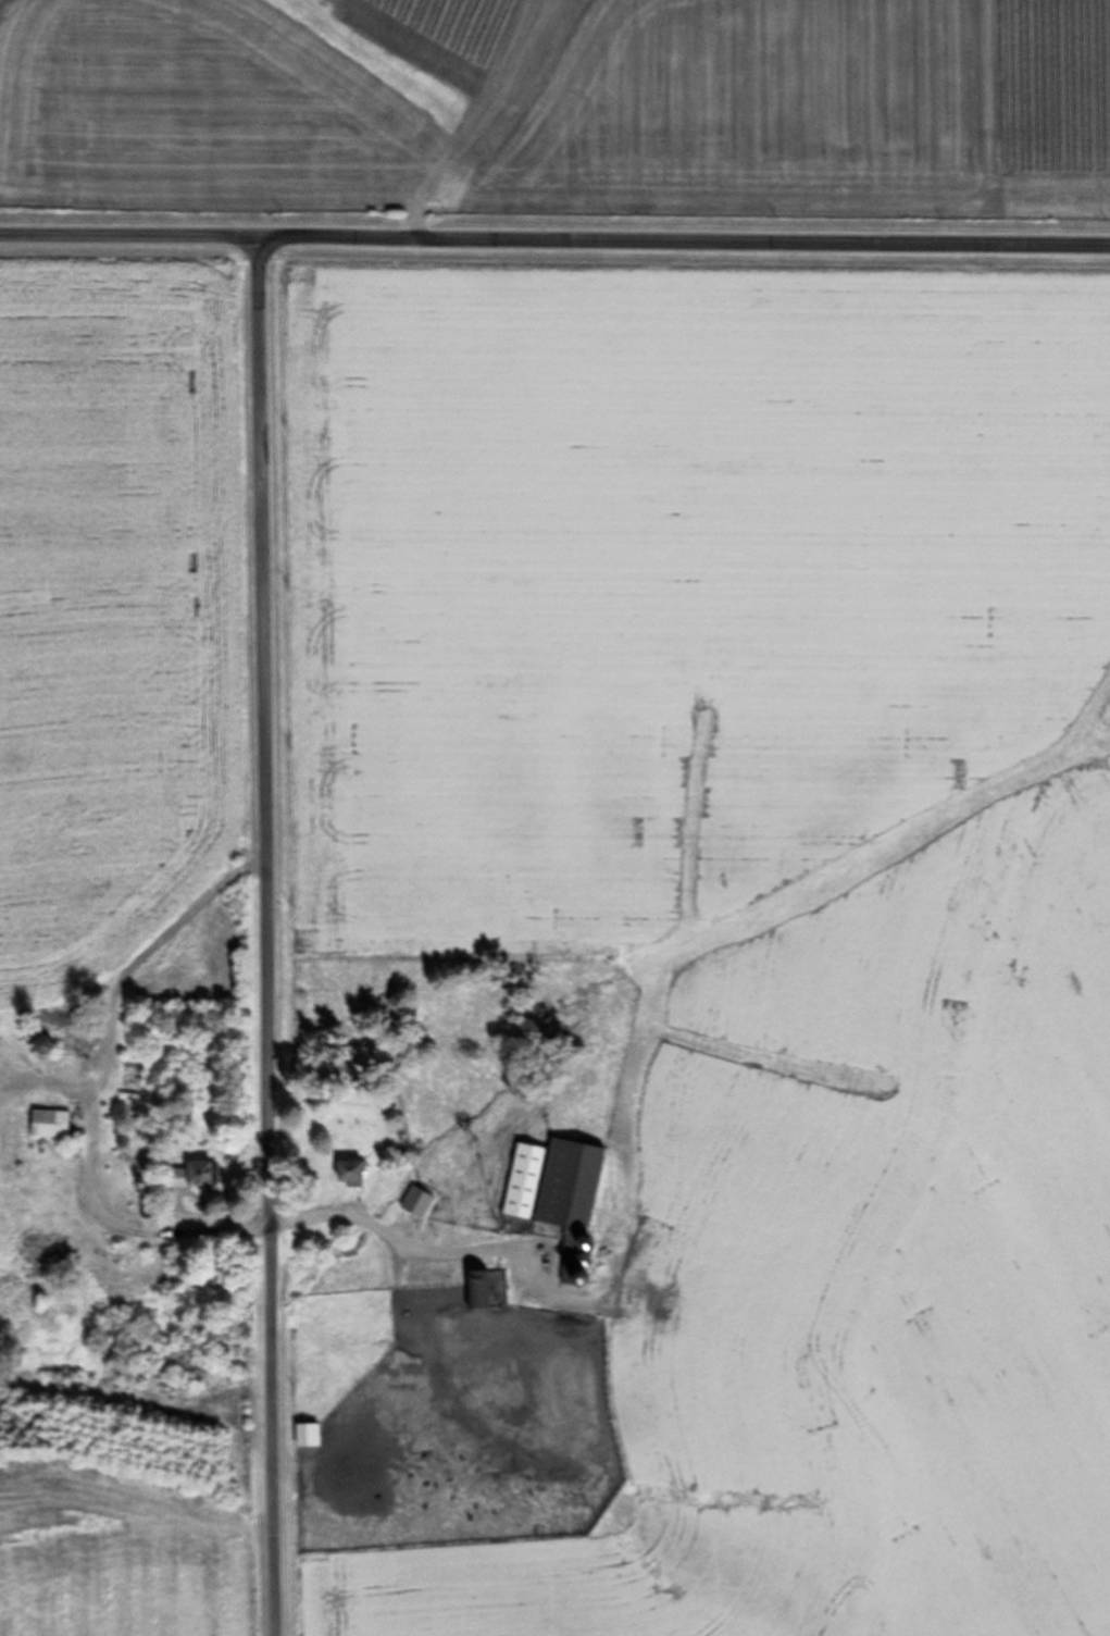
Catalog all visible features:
road: (554, 236)
road: (273, 933)
building: (41, 1045)
building: (48, 1124)
building: (346, 1174)
building: (190, 1175)
building: (552, 1185)
building: (416, 1203)
road: (415, 1247)
building: (476, 1291)
building: (307, 1436)

